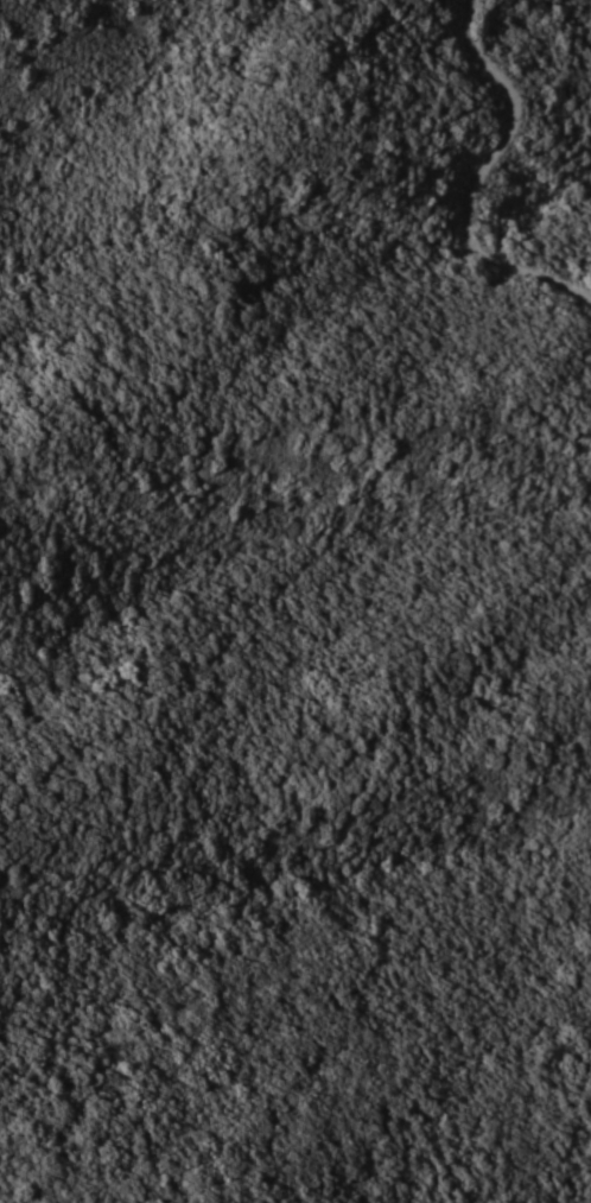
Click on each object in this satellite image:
road: (474, 179)

